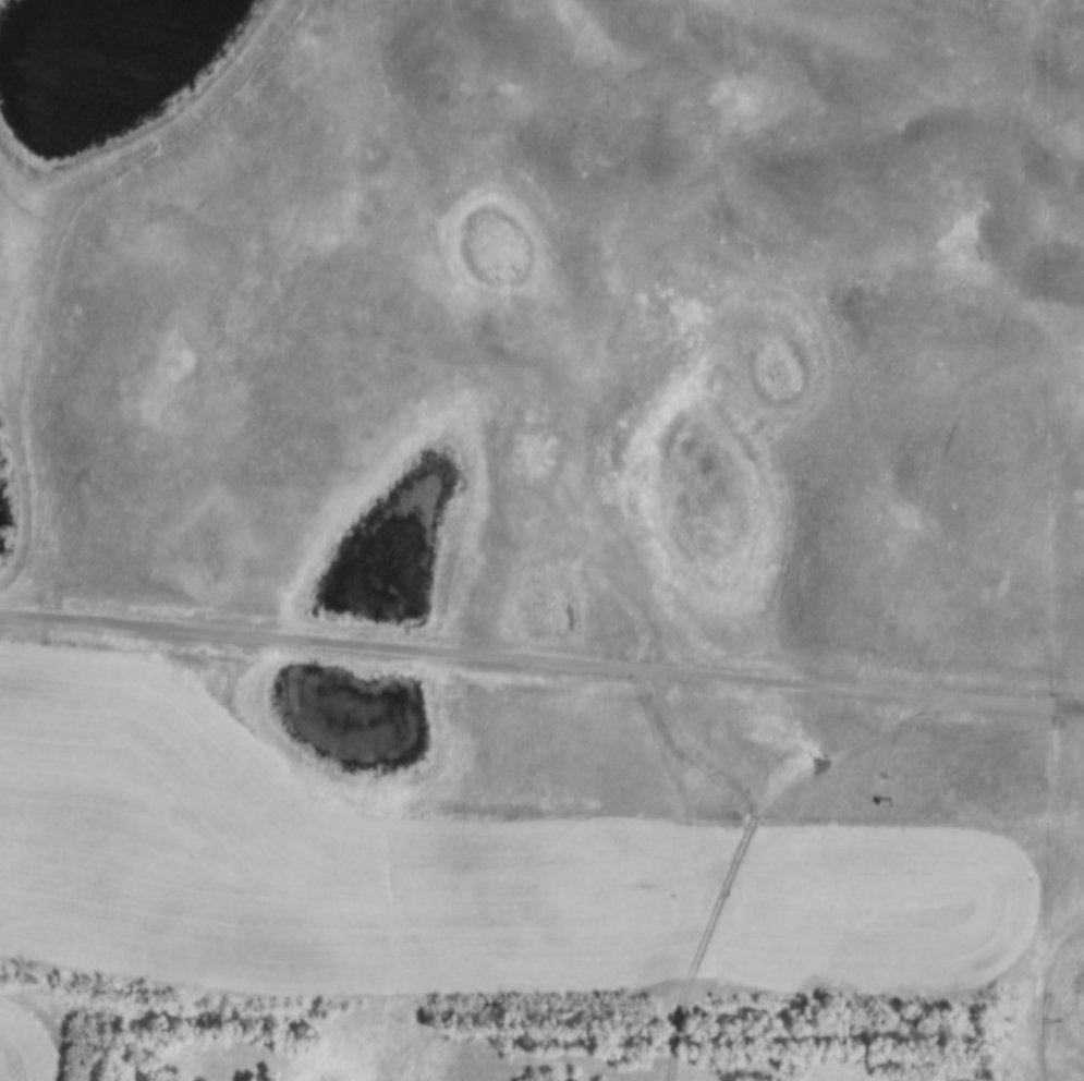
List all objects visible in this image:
road: (541, 656)
road: (747, 835)

